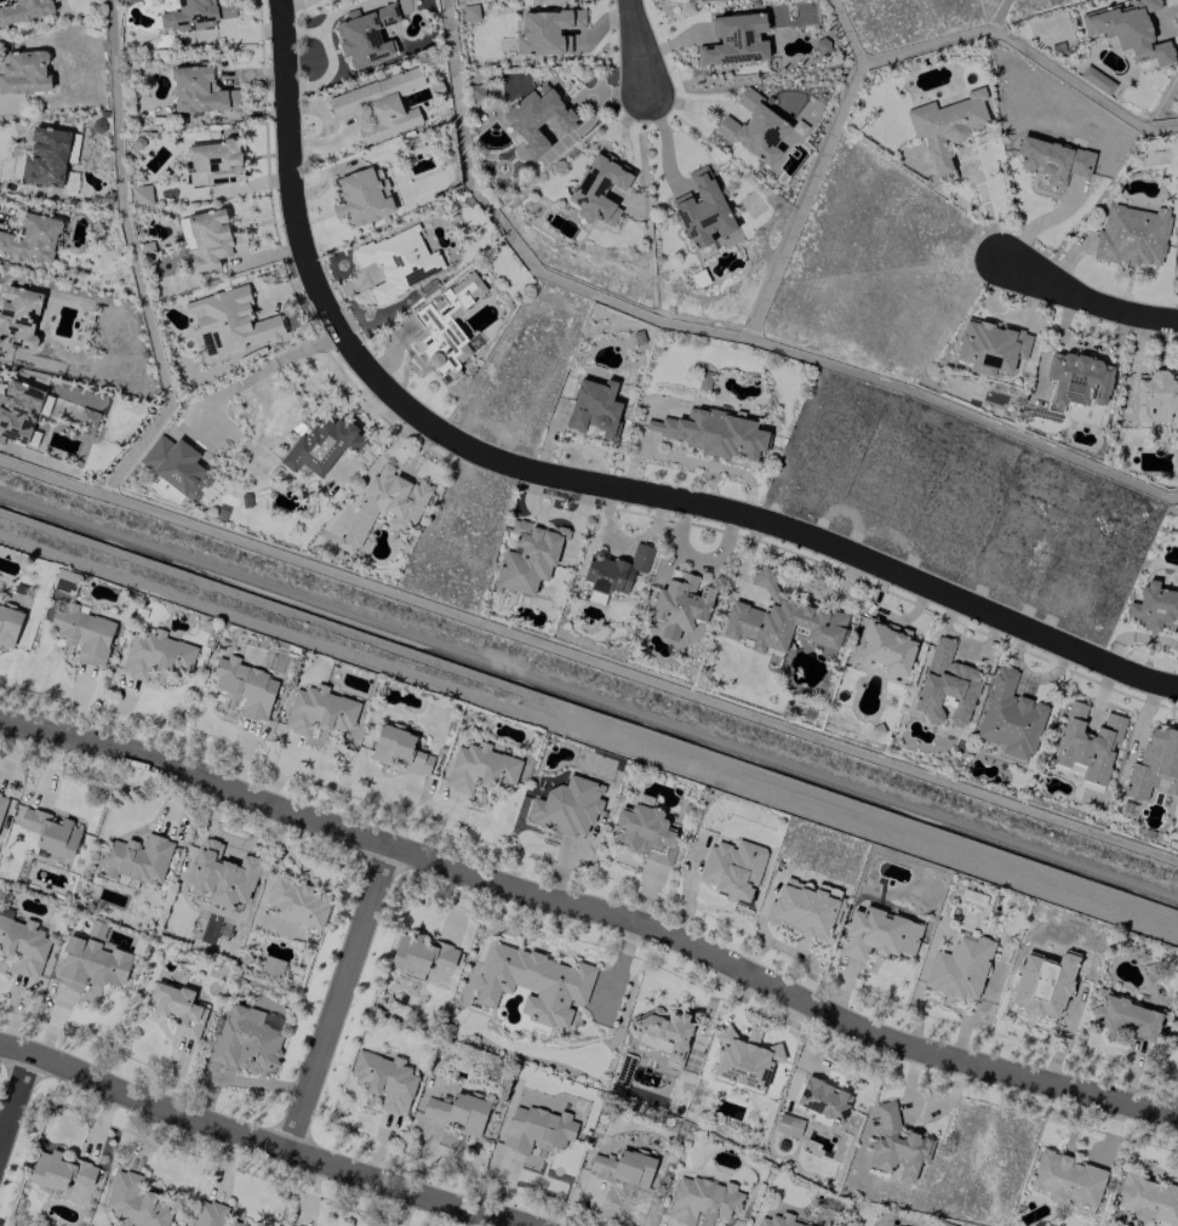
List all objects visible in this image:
building: (121, 1)
building: (24, 10)
building: (469, 11)
building: (195, 13)
building: (1128, 30)
building: (545, 32)
building: (365, 35)
building: (734, 40)
road: (636, 42)
building: (23, 72)
building: (1096, 79)
building: (200, 91)
building: (379, 104)
building: (536, 118)
building: (945, 126)
building: (753, 127)
building: (45, 156)
building: (1053, 159)
building: (212, 162)
building: (597, 188)
building: (141, 194)
building: (361, 195)
building: (702, 210)
road: (293, 212)
road: (1042, 221)
building: (1131, 234)
building: (32, 238)
building: (210, 238)
building: (399, 261)
road: (1086, 301)
road: (997, 310)
building: (18, 315)
building: (230, 320)
building: (445, 325)
road: (1083, 342)
building: (206, 344)
building: (990, 346)
road: (262, 367)
building: (1076, 380)
building: (1155, 397)
building: (594, 407)
building: (21, 411)
building: (713, 432)
building: (321, 444)
building: (1174, 460)
building: (178, 468)
building: (383, 508)
road: (788, 528)
building: (528, 555)
building: (614, 569)
building: (680, 600)
building: (1154, 608)
building: (780, 618)
building: (8, 626)
building: (82, 633)
building: (883, 646)
building: (155, 654)
building: (944, 685)
building: (244, 686)
building: (318, 711)
building: (1008, 715)
building: (1085, 743)
building: (399, 749)
building: (1154, 765)
building: (480, 768)
building: (1, 802)
building: (566, 806)
building: (642, 829)
building: (51, 833)
building: (135, 859)
building: (731, 868)
building: (219, 874)
building: (296, 901)
road: (594, 906)
building: (877, 934)
building: (21, 943)
building: (419, 953)
building: (90, 965)
building: (270, 965)
building: (959, 968)
building: (532, 982)
building: (1042, 983)
road: (338, 1002)
building: (176, 1008)
building: (1125, 1017)
building: (270, 1020)
building: (664, 1031)
building: (245, 1039)
building: (1176, 1042)
building: (744, 1060)
building: (623, 1068)
building: (383, 1080)
building: (823, 1097)
road: (17, 1108)
building: (456, 1112)
building: (788, 1124)
building: (536, 1130)
road: (248, 1144)
building: (896, 1144)
building: (622, 1168)
building: (58, 1170)
building: (1065, 1179)
building: (1146, 1197)
building: (702, 1201)
building: (133, 1202)
building: (211, 1214)
building: (777, 1220)
building: (287, 1225)

